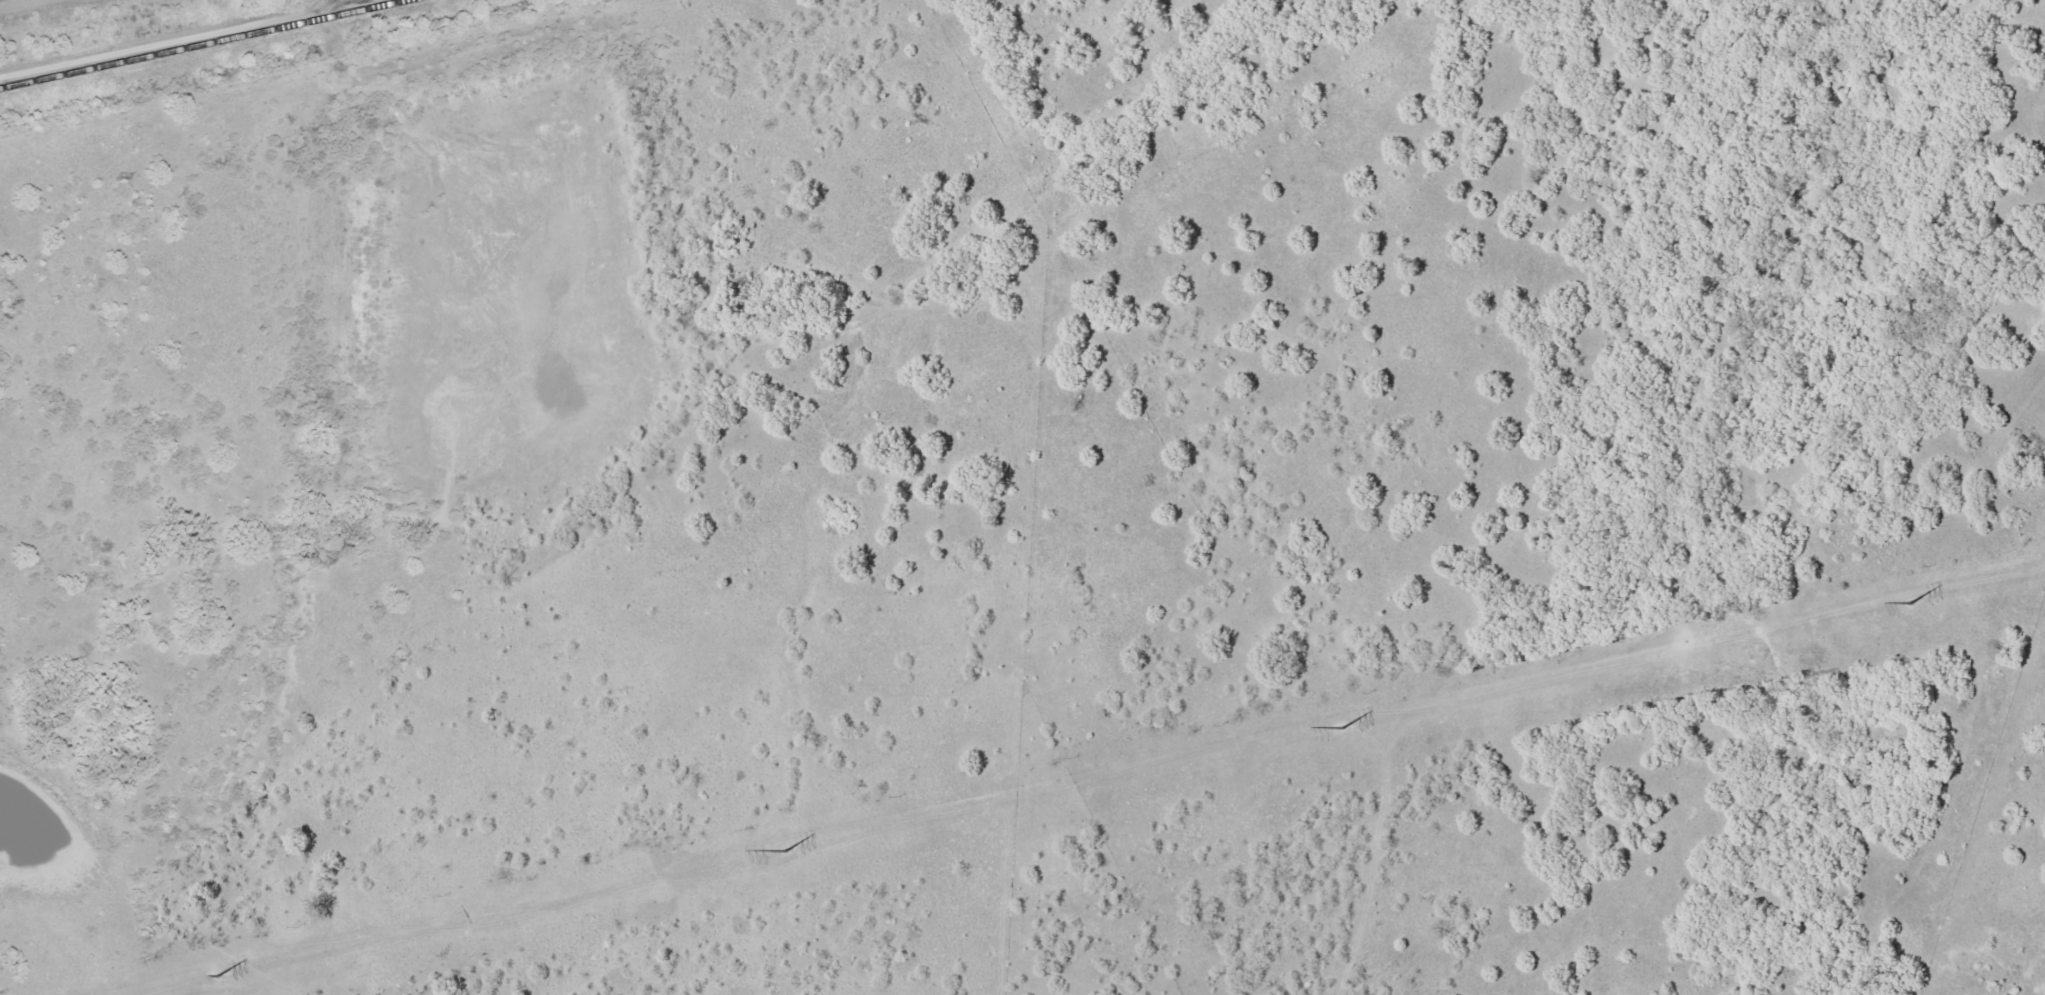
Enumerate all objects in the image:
railway: (196, 42)
power tower: (1910, 602)
power tower: (1341, 728)
power tower: (786, 850)
power tower: (217, 975)

